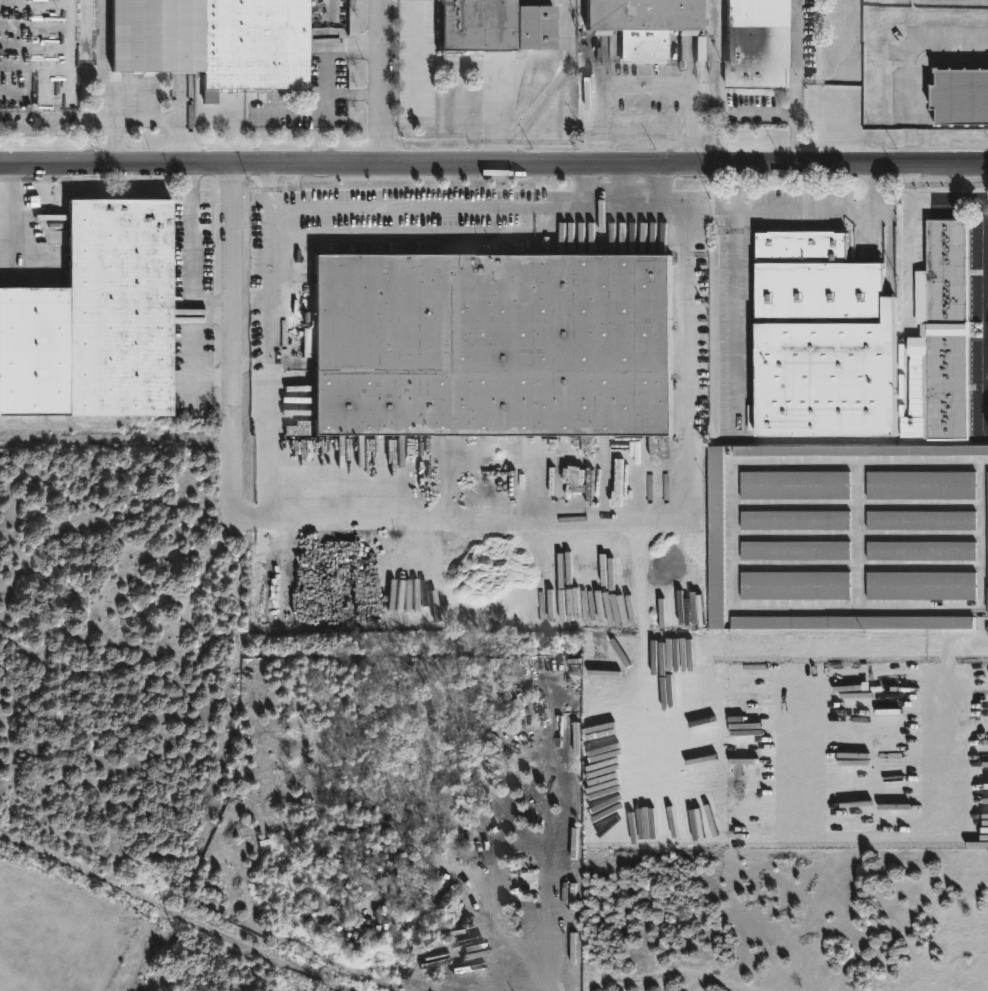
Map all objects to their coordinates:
building: (650, 23)
building: (486, 24)
building: (543, 25)
building: (214, 42)
building: (757, 44)
road: (417, 46)
road: (912, 68)
road: (326, 71)
road: (381, 82)
road: (798, 82)
road: (645, 88)
building: (958, 97)
road: (495, 111)
road: (146, 120)
road: (494, 164)
road: (294, 186)
road: (269, 187)
road: (588, 187)
road: (737, 187)
road: (663, 188)
road: (811, 207)
road: (306, 209)
road: (29, 217)
road: (690, 240)
road: (904, 243)
road: (987, 270)
building: (945, 271)
road: (188, 290)
road: (210, 309)
building: (98, 320)
road: (734, 332)
building: (816, 339)
building: (495, 345)
building: (914, 378)
building: (944, 385)
road: (233, 405)
road: (262, 440)
road: (985, 463)
building: (659, 468)
building: (795, 485)
building: (920, 485)
road: (249, 516)
road: (517, 517)
building: (795, 520)
building: (920, 520)
road: (730, 536)
building: (716, 537)
building: (794, 550)
building: (920, 551)
road: (981, 552)
building: (987, 552)
building: (673, 555)
building: (795, 585)
building: (921, 586)
building: (665, 615)
building: (851, 622)
road: (167, 915)
road: (148, 953)

